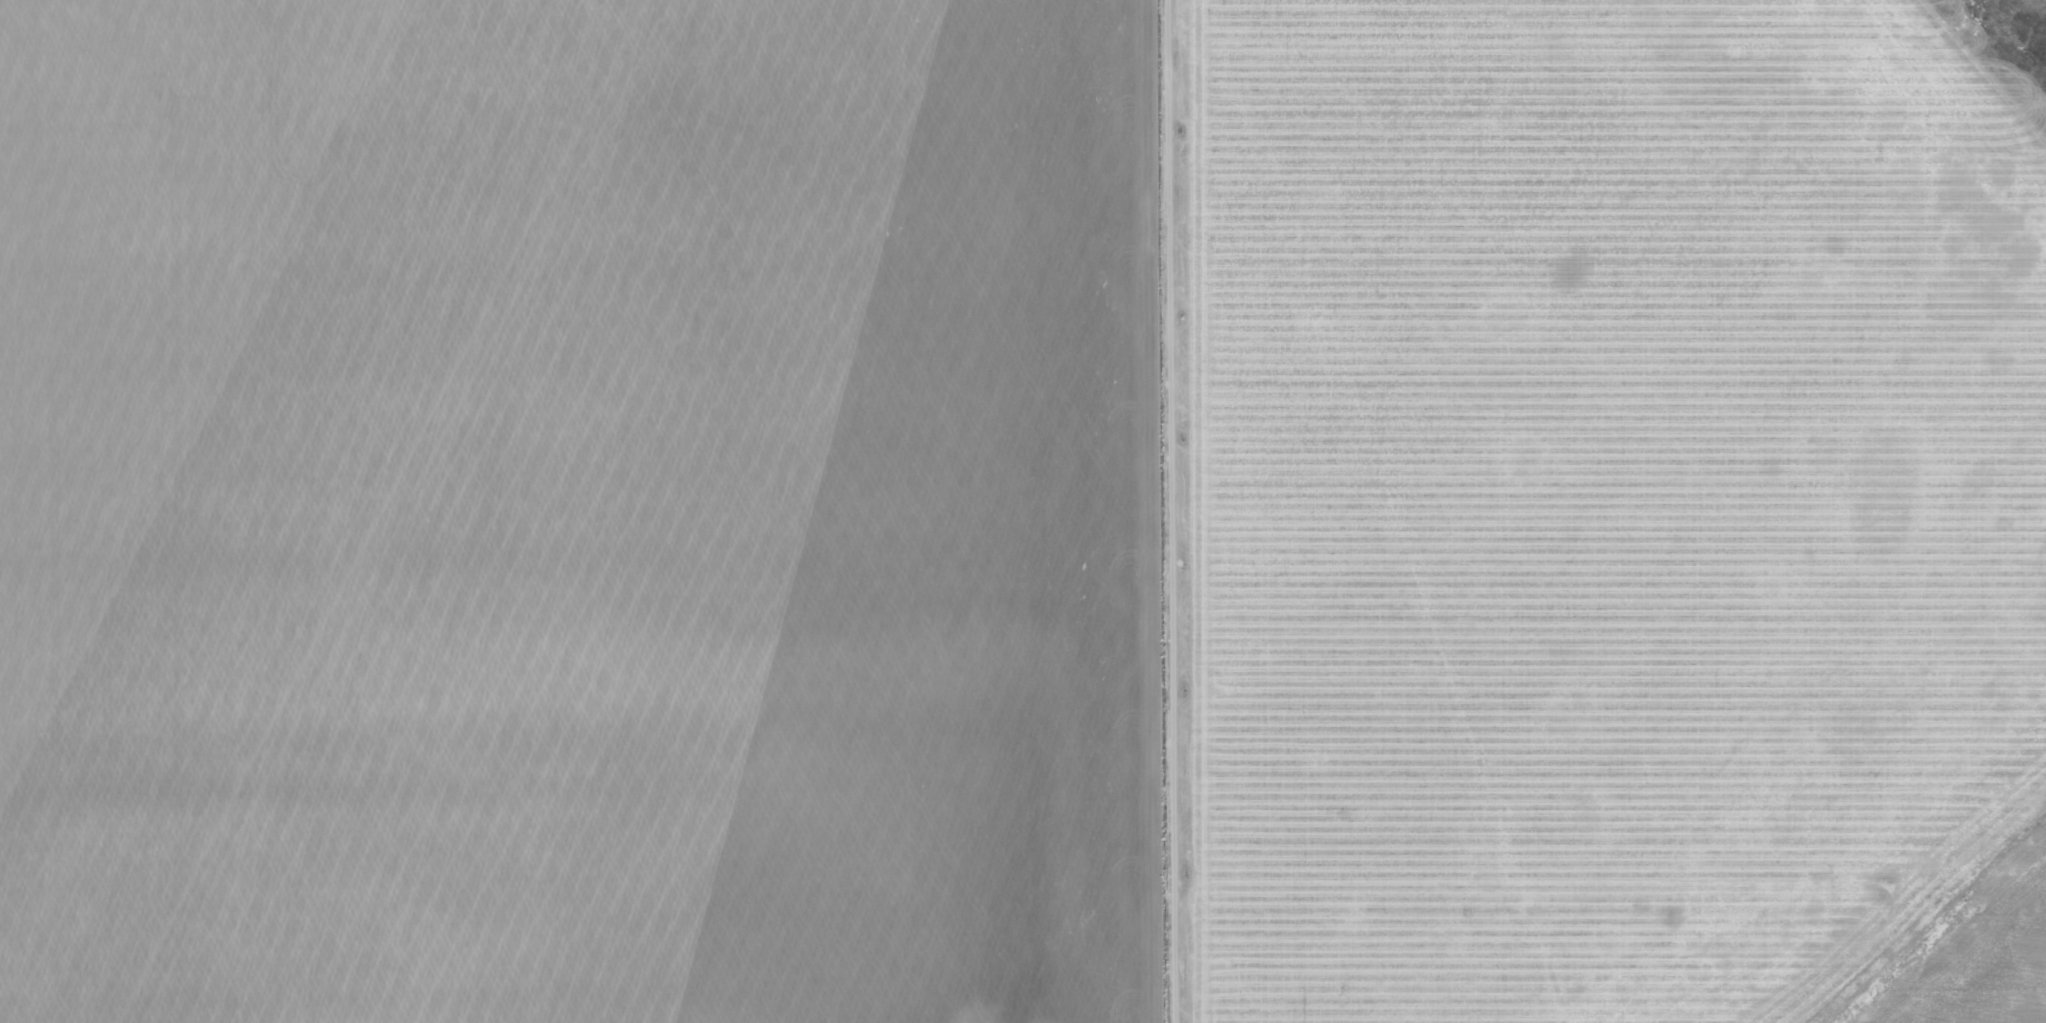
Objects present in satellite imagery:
road: (1169, 511)

